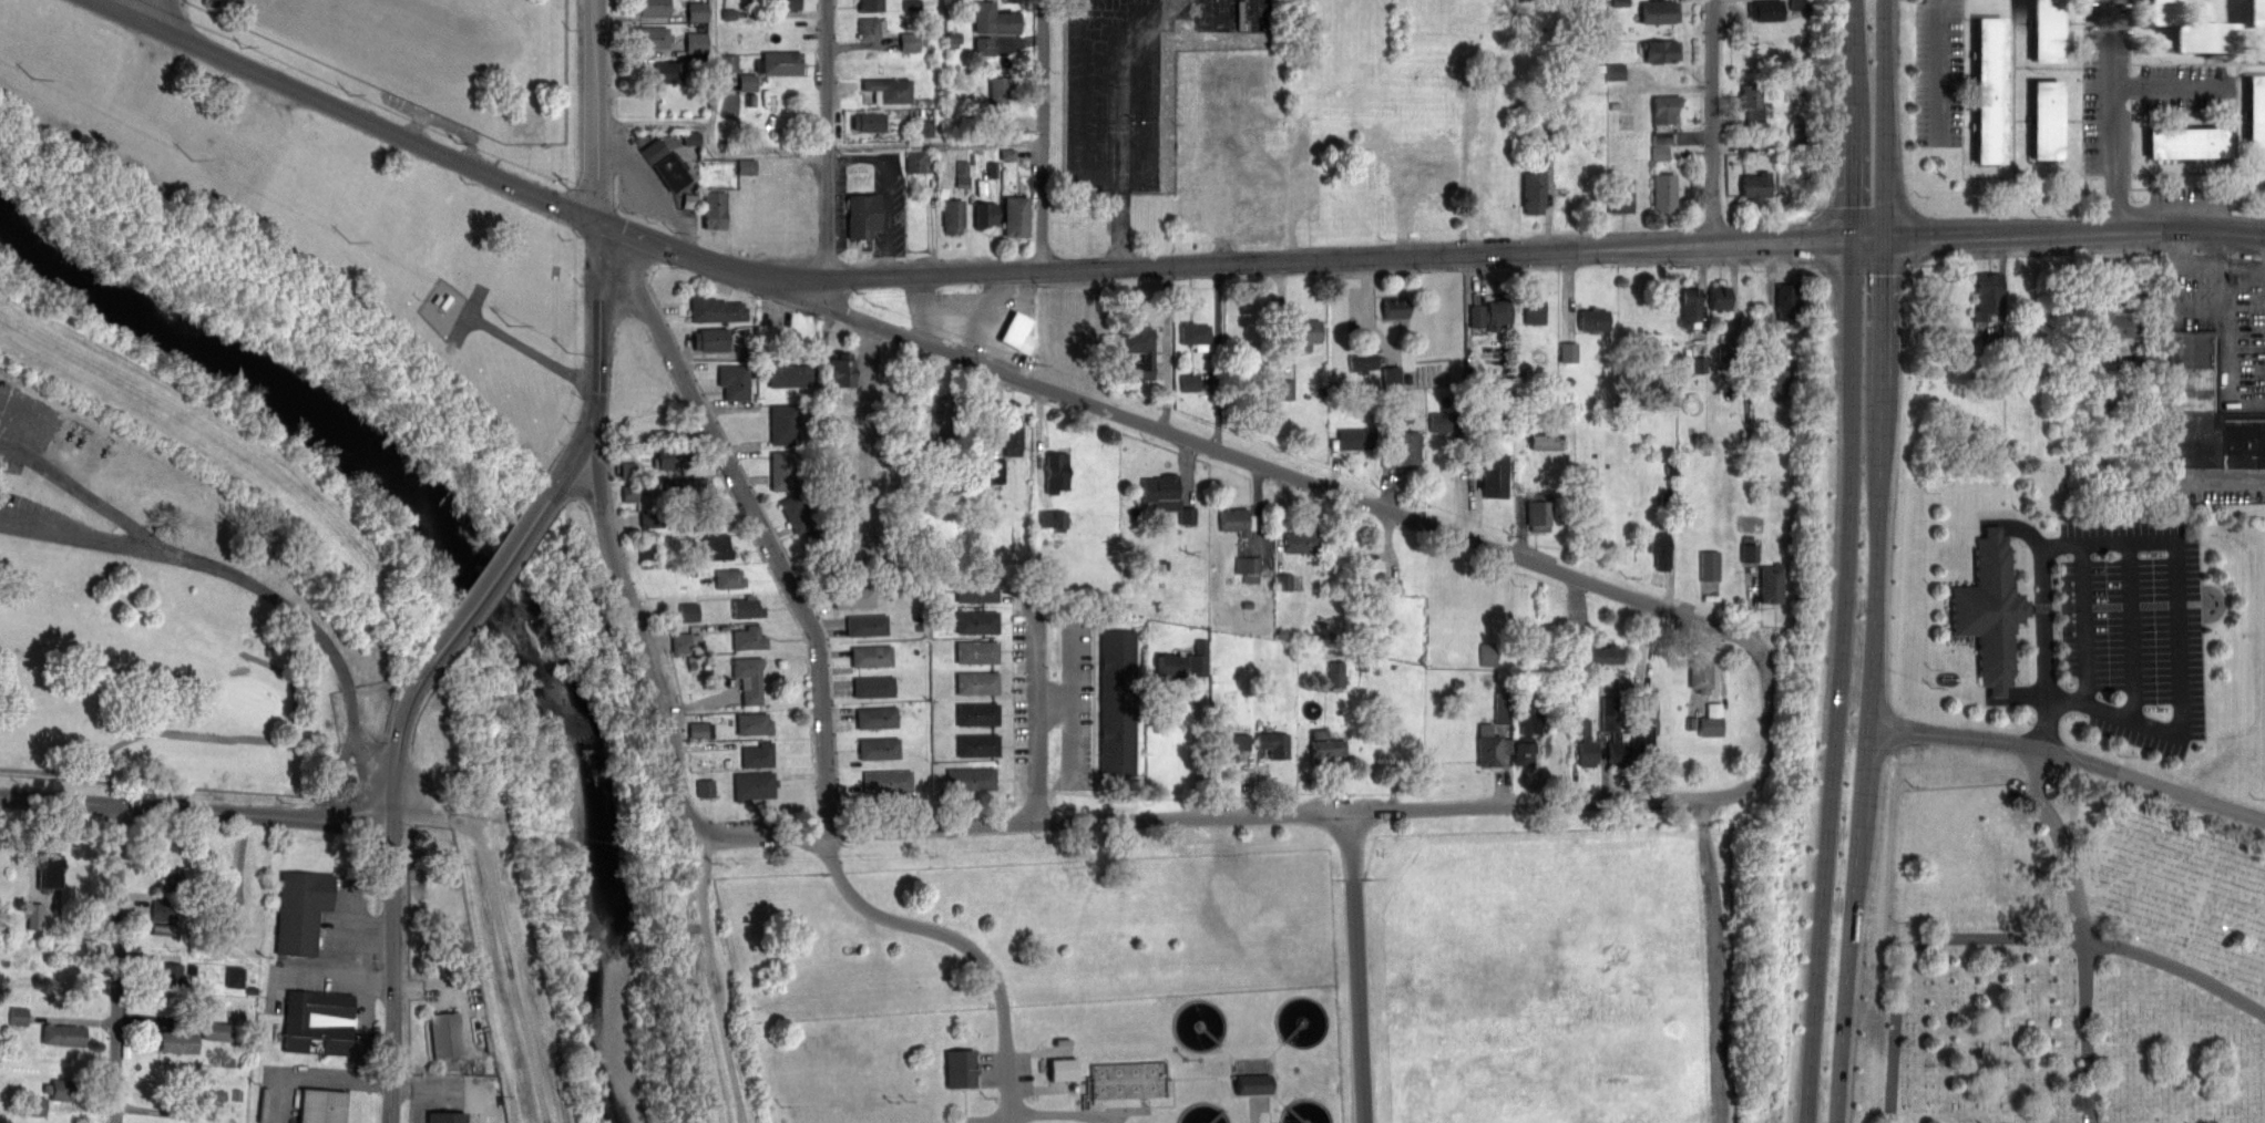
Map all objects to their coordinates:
building: (870, 4)
building: (781, 6)
building: (649, 8)
building: (1765, 10)
road: (145, 11)
building: (697, 11)
road: (1120, 11)
building: (1660, 11)
building: (2256, 13)
building: (994, 19)
building: (871, 28)
building: (2044, 30)
building: (2193, 30)
building: (650, 38)
building: (697, 42)
building: (910, 42)
road: (1854, 44)
building: (1660, 50)
building: (779, 62)
road: (714, 70)
road: (1936, 70)
building: (1616, 71)
building: (670, 72)
building: (747, 82)
road: (2170, 86)
building: (888, 89)
building: (1988, 90)
building: (1000, 93)
parking lot: (1117, 93)
road: (1854, 102)
building: (1752, 103)
road: (342, 111)
road: (593, 111)
building: (2254, 113)
road: (2115, 116)
building: (1663, 117)
road: (1883, 119)
building: (2044, 120)
building: (868, 121)
road: (1714, 122)
road: (1118, 132)
road: (1043, 134)
road: (827, 137)
road: (709, 140)
building: (2184, 143)
road: (934, 144)
building: (916, 159)
building: (665, 164)
building: (746, 167)
building: (1418, 174)
road: (1854, 177)
building: (1754, 186)
building: (1533, 190)
building: (1663, 192)
building: (1620, 195)
parking lot: (870, 203)
building: (714, 208)
road: (884, 210)
building: (1195, 210)
road: (729, 212)
building: (862, 214)
building: (985, 214)
building: (953, 215)
building: (1015, 216)
road: (1546, 250)
road: (2218, 260)
road: (709, 261)
road: (2173, 291)
building: (1987, 295)
building: (1719, 296)
building: (1785, 301)
building: (1689, 305)
road: (599, 307)
building: (1394, 307)
building: (715, 309)
road: (1882, 309)
building: (1534, 311)
building: (1492, 313)
building: (1592, 318)
building: (2113, 323)
road: (2223, 330)
building: (1304, 332)
building: (1017, 333)
building: (1195, 334)
building: (710, 339)
building: (1138, 347)
building: (1569, 351)
building: (1363, 360)
building: (841, 369)
building: (788, 374)
building: (734, 381)
building: (1190, 382)
building: (1285, 389)
parking lot: (6, 394)
building: (843, 395)
road: (1880, 400)
building: (2206, 411)
building: (1447, 421)
building: (783, 424)
building: (1012, 434)
road: (867, 437)
building: (1355, 437)
building: (1405, 447)
road: (581, 449)
road: (16, 451)
parking lot: (14, 454)
building: (673, 457)
building: (627, 470)
building: (783, 470)
building: (994, 471)
building: (1055, 471)
building: (1495, 475)
road: (2221, 477)
building: (687, 491)
road: (1333, 492)
building: (1166, 495)
building: (1538, 511)
building: (797, 512)
parking lot: (21, 513)
road: (755, 514)
building: (1053, 518)
road: (19, 521)
building: (701, 521)
building: (1236, 521)
road: (96, 537)
road: (2032, 537)
building: (1304, 539)
building: (716, 546)
building: (1660, 549)
building: (1252, 569)
building: (1366, 570)
river: (471, 573)
road: (490, 578)
building: (729, 578)
building: (1284, 581)
road: (257, 583)
building: (1771, 583)
building: (976, 590)
building: (853, 596)
building: (747, 607)
building: (1991, 610)
road: (631, 611)
building: (688, 611)
park: (164, 617)
building: (976, 621)
road: (2042, 622)
building: (867, 625)
road: (2084, 625)
parking lot: (2133, 629)
road: (2132, 630)
road: (2179, 637)
building: (748, 638)
building: (697, 642)
building: (681, 643)
building: (976, 651)
building: (1598, 655)
building: (871, 656)
building: (1199, 659)
building: (1170, 668)
building: (1699, 672)
building: (748, 678)
road: (1839, 681)
building: (976, 682)
building: (873, 686)
park: (252, 699)
road: (1035, 699)
parking lot: (1076, 701)
road: (1054, 702)
road: (1072, 702)
building: (1117, 702)
building: (977, 713)
building: (877, 717)
building: (752, 722)
road: (2042, 722)
building: (1711, 727)
building: (700, 730)
building: (1612, 731)
road: (187, 733)
road: (399, 739)
building: (1585, 741)
building: (1644, 742)
building: (1273, 743)
building: (977, 744)
building: (1231, 744)
building: (1492, 745)
building: (1325, 746)
building: (879, 749)
road: (1199, 750)
building: (1523, 751)
building: (757, 754)
road: (2069, 754)
road: (1863, 772)
building: (971, 779)
building: (886, 781)
building: (754, 784)
building: (705, 789)
road: (197, 811)
road: (1239, 815)
park: (2069, 818)
road: (2062, 838)
building: (50, 872)
building: (170, 880)
building: (300, 909)
building: (164, 910)
building: (34, 915)
building: (163, 928)
road: (964, 942)
road: (1908, 948)
road: (1713, 960)
road: (121, 965)
road: (1356, 967)
road: (2177, 968)
road: (393, 973)
building: (168, 975)
building: (235, 977)
building: (19, 1016)
building: (317, 1021)
road: (2088, 1029)
building: (217, 1031)
building: (63, 1034)
building: (444, 1034)
building: (174, 1041)
wastewater plant: (1067, 1062)
building: (962, 1067)
building: (1064, 1068)
road: (314, 1075)
building: (1126, 1079)
road: (452, 1089)
building: (61, 1090)
building: (209, 1098)
building: (320, 1105)
building: (37, 1106)
road: (1056, 1113)
building: (445, 1116)

